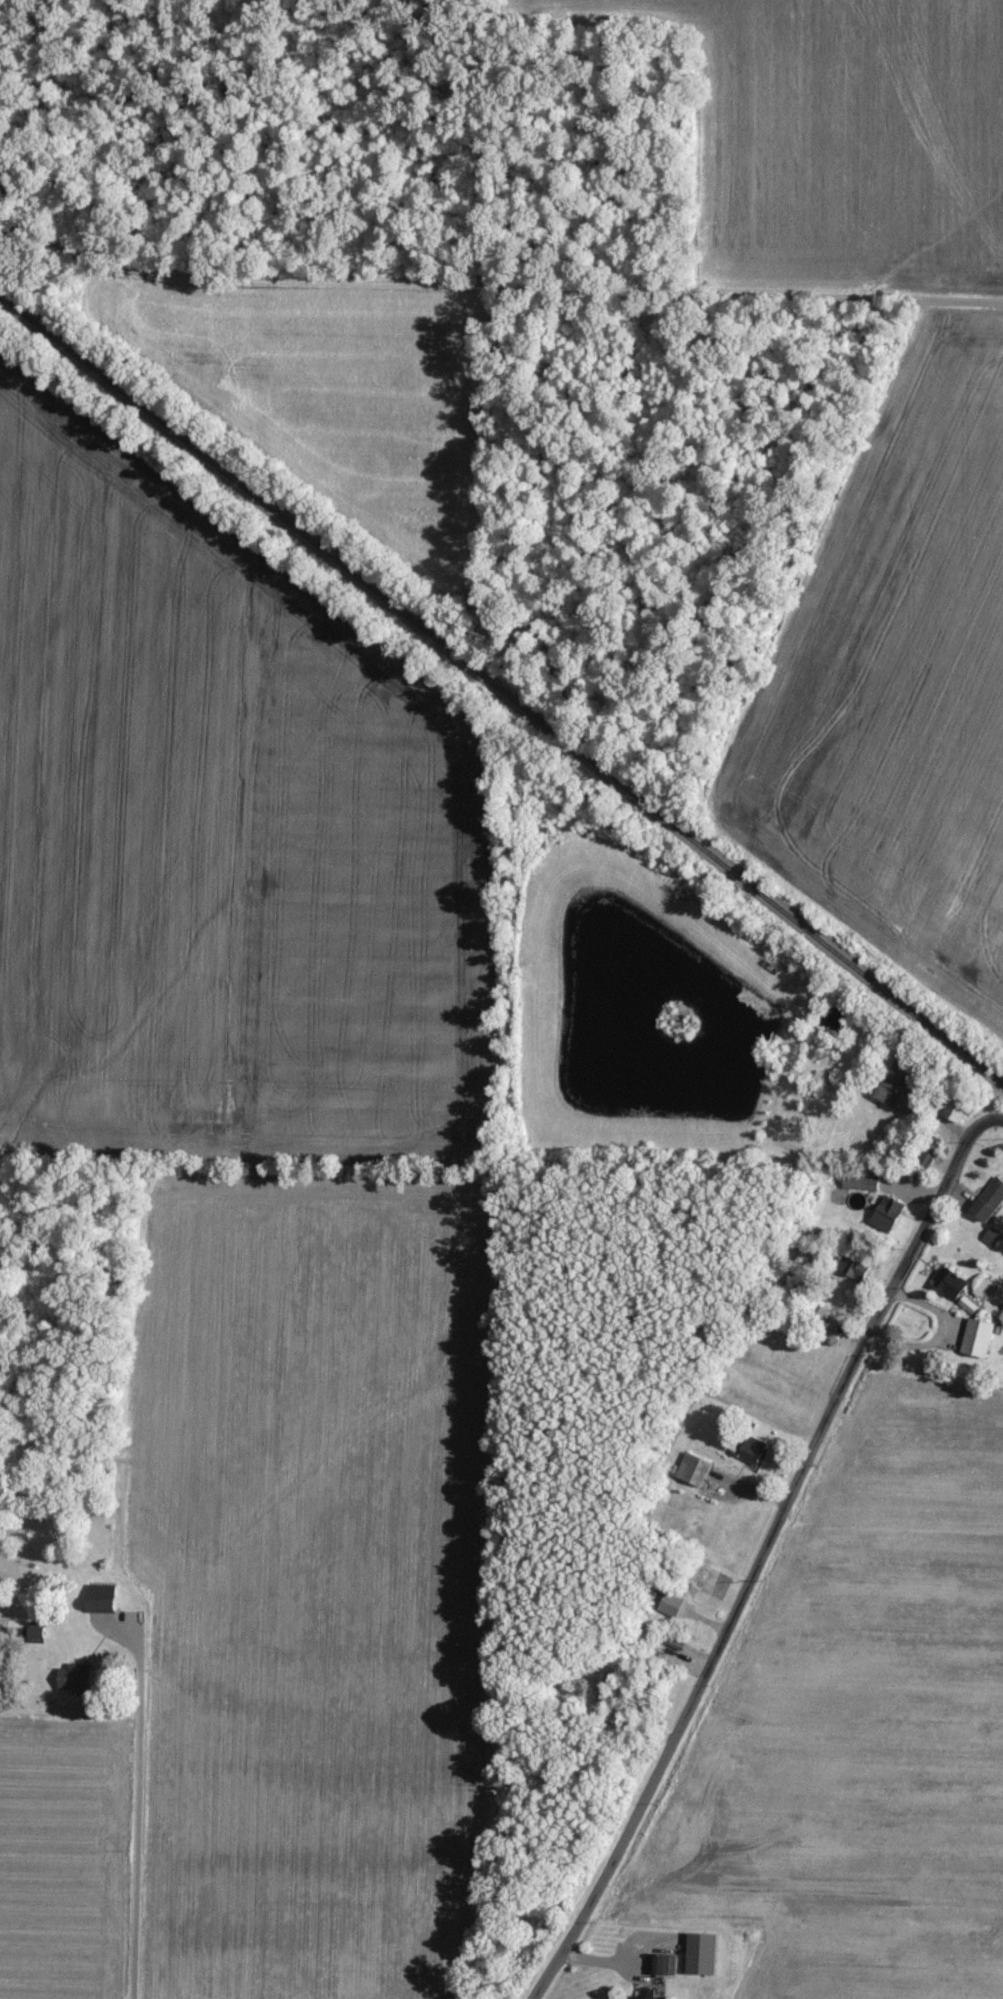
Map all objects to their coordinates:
road: (599, 294)
railway: (501, 703)
building: (897, 1089)
building: (961, 1107)
building: (863, 1183)
building: (990, 1199)
building: (889, 1214)
building: (992, 1237)
building: (862, 1267)
building: (953, 1283)
building: (978, 1337)
building: (754, 1451)
building: (696, 1469)
road: (766, 1552)
building: (674, 1605)
building: (36, 1635)
building: (674, 1643)
building: (75, 1678)
road: (134, 1810)
building: (663, 1965)
building: (644, 1995)

